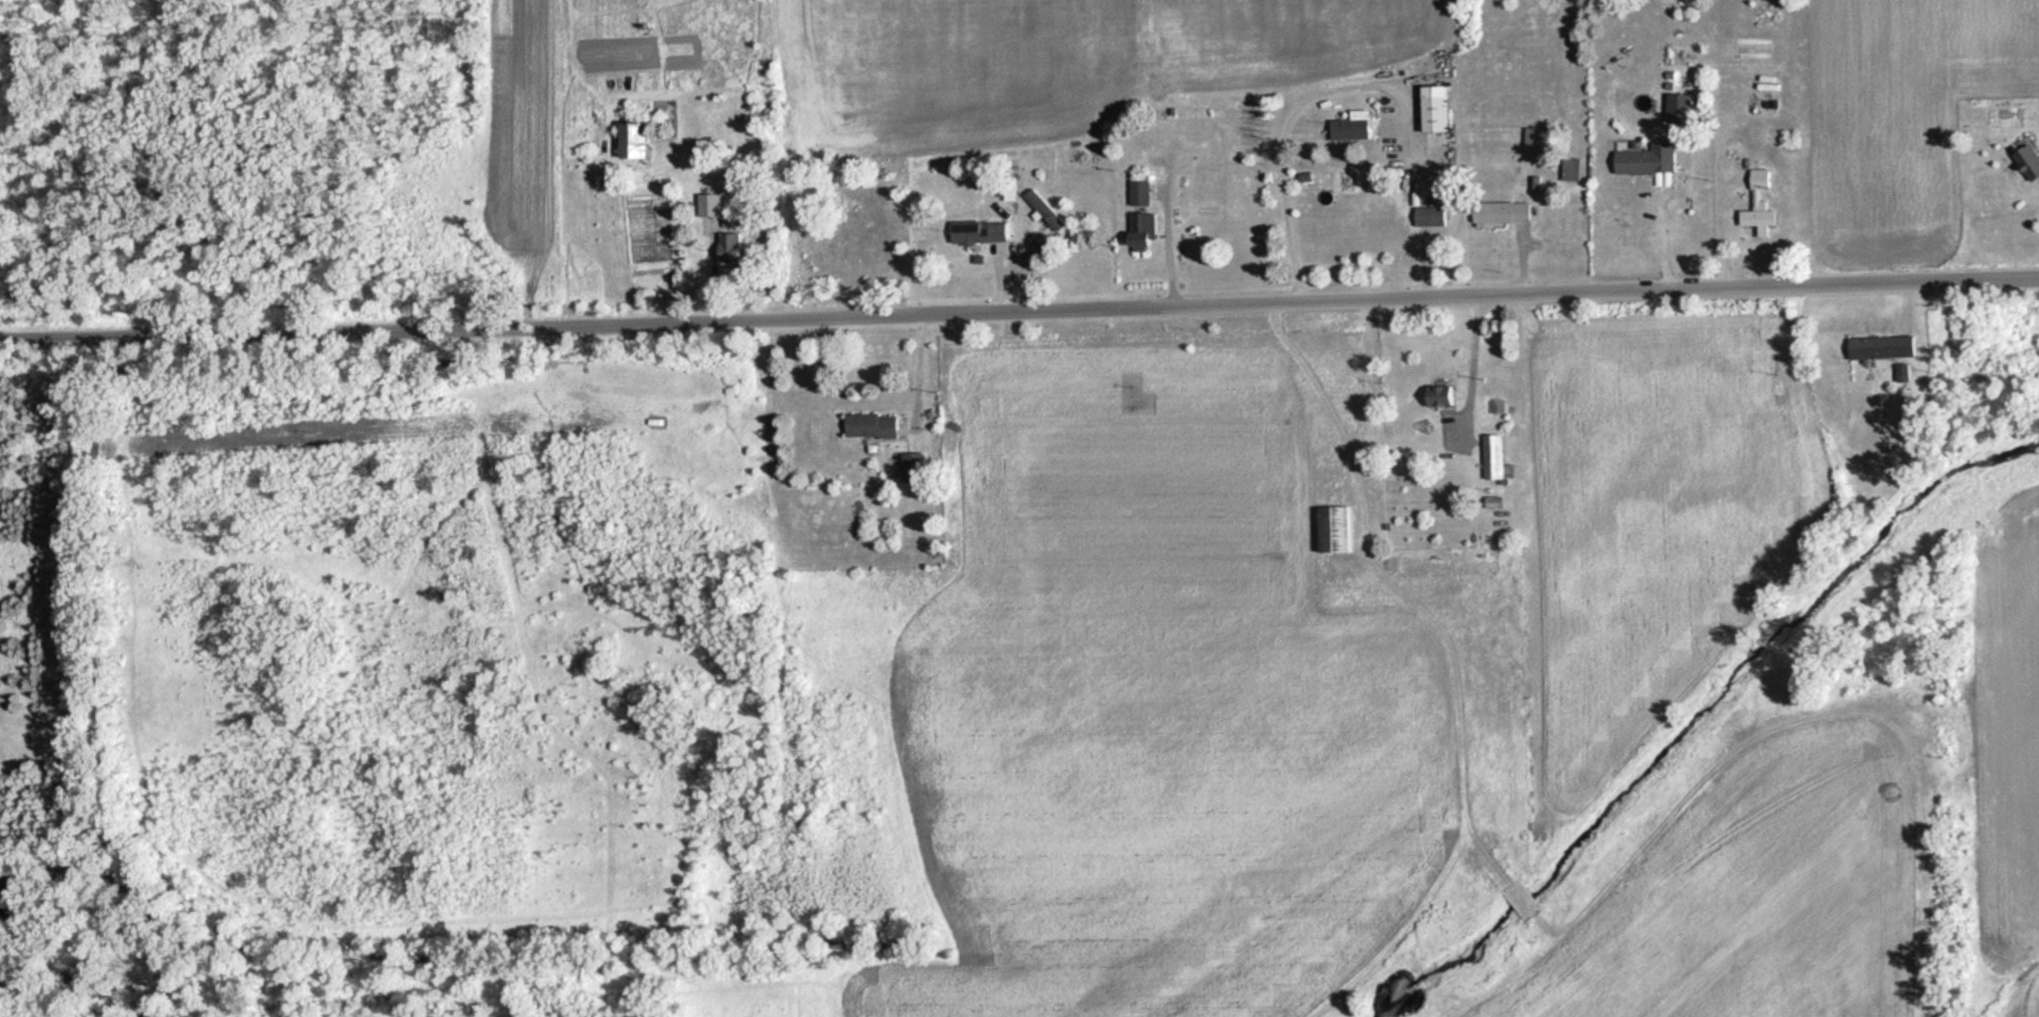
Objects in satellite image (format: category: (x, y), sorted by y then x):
building: (1685, 107)
building: (1441, 114)
building: (1354, 127)
building: (1536, 138)
building: (640, 139)
building: (1650, 159)
building: (1762, 202)
building: (712, 205)
building: (1046, 207)
building: (1511, 212)
building: (1432, 216)
building: (1389, 225)
building: (1147, 229)
building: (984, 231)
building: (733, 247)
road: (1019, 302)
building: (1886, 347)
building: (1446, 396)
building: (876, 426)
building: (1499, 458)
building: (916, 467)
building: (1498, 502)
river: (1, 881)

